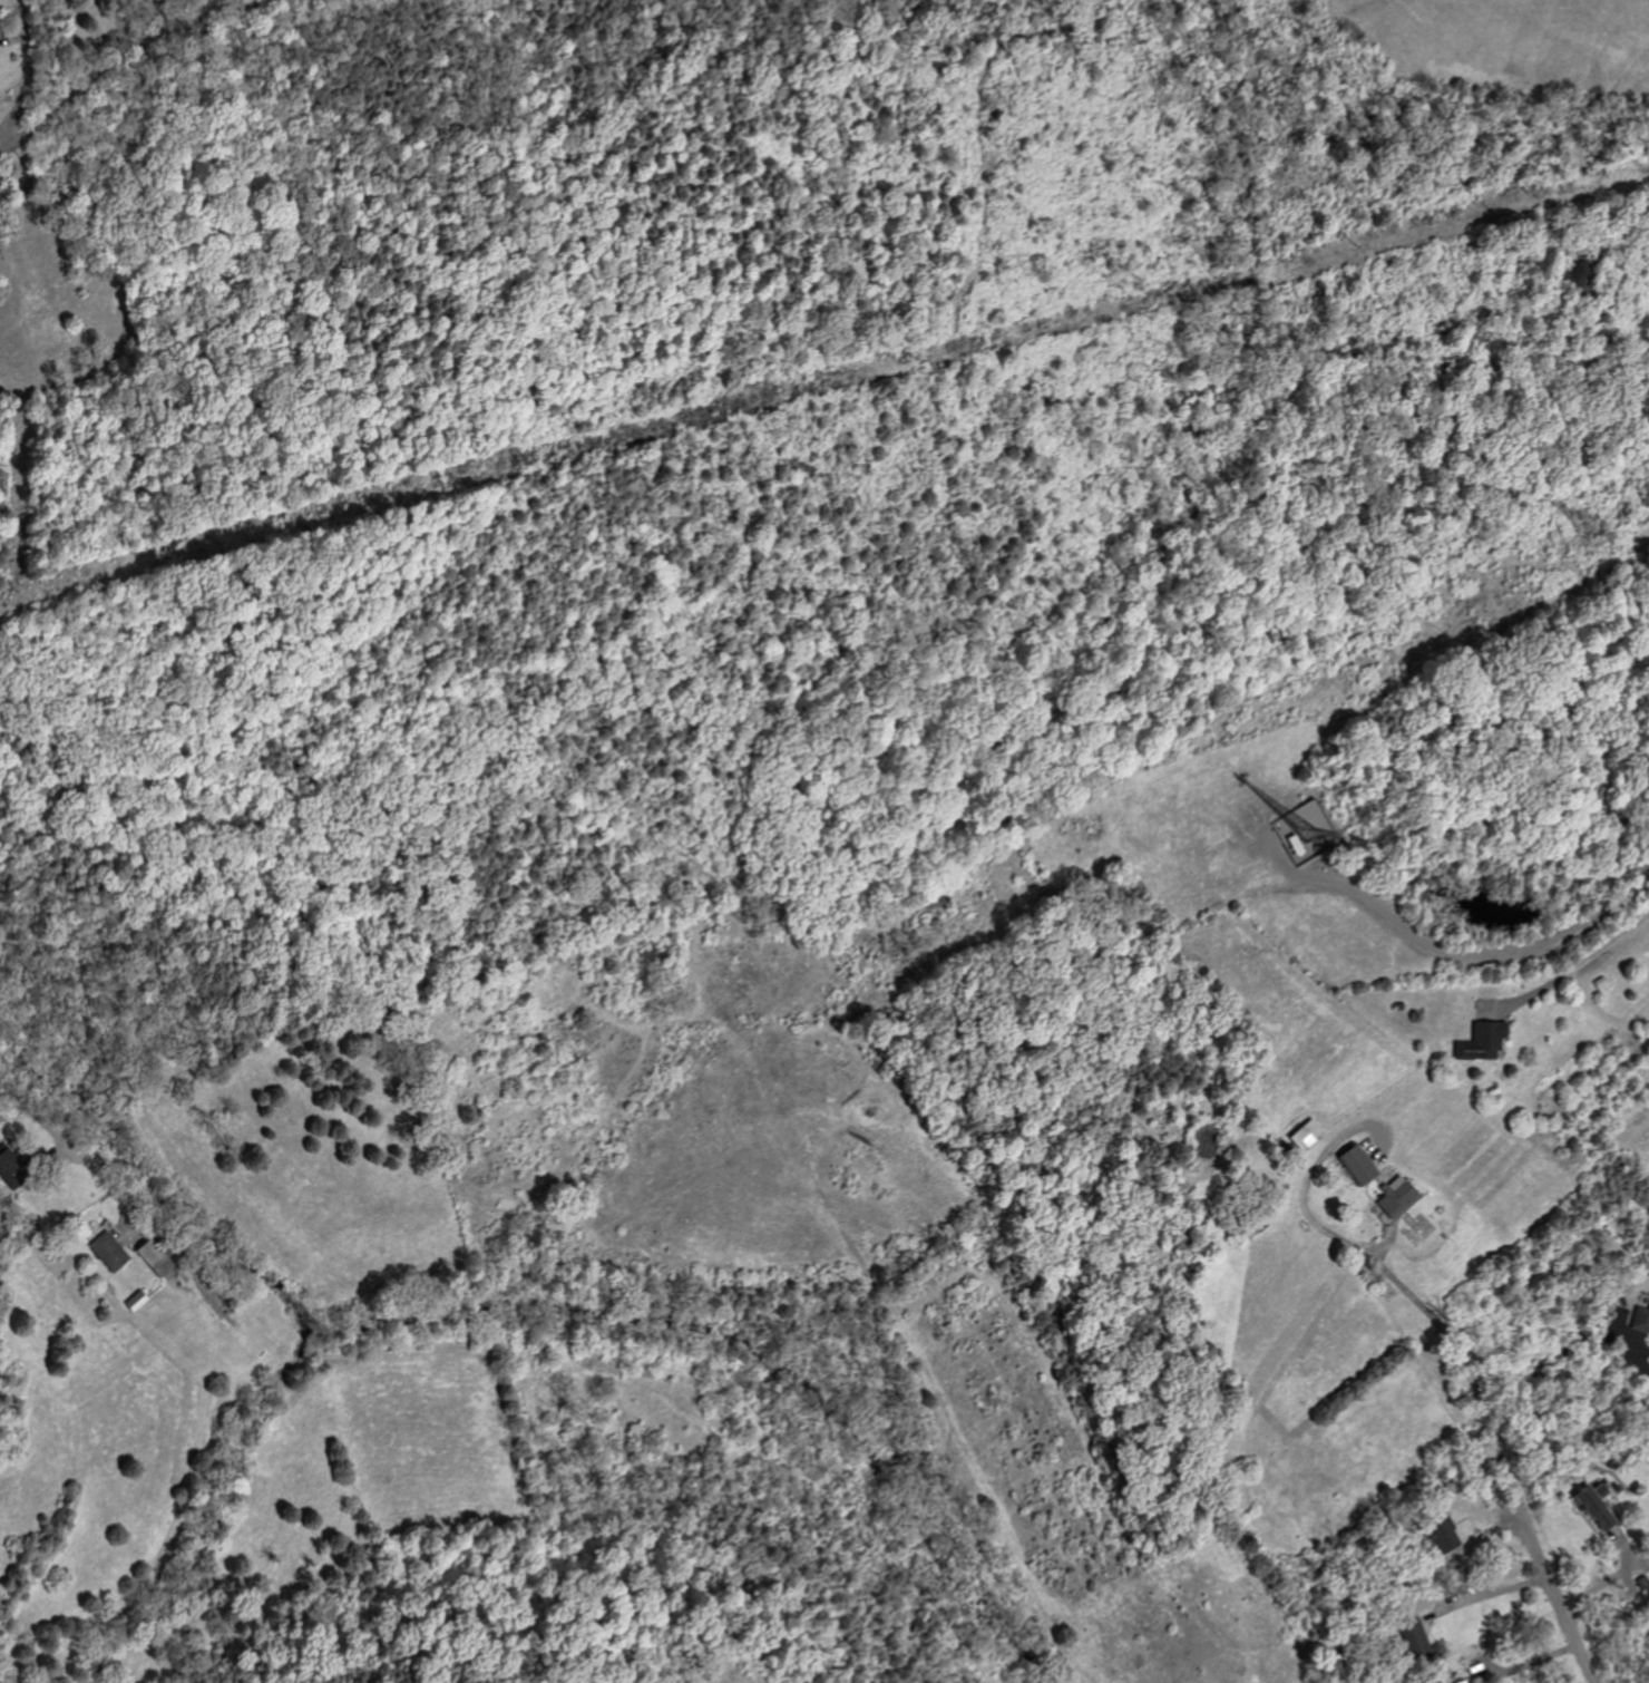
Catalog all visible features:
road: (107, 68)
power tower: (1594, 539)
power tower: (908, 943)
road: (1574, 967)
building: (1486, 1041)
building: (1309, 1135)
road: (60, 1144)
building: (13, 1167)
building: (1385, 1183)
building: (110, 1251)
building: (159, 1259)
building: (139, 1301)
building: (1640, 1320)
road: (1636, 1346)
road: (1496, 1453)
building: (1591, 1505)
building: (1437, 1536)
road: (1491, 1592)
building: (1412, 1636)

